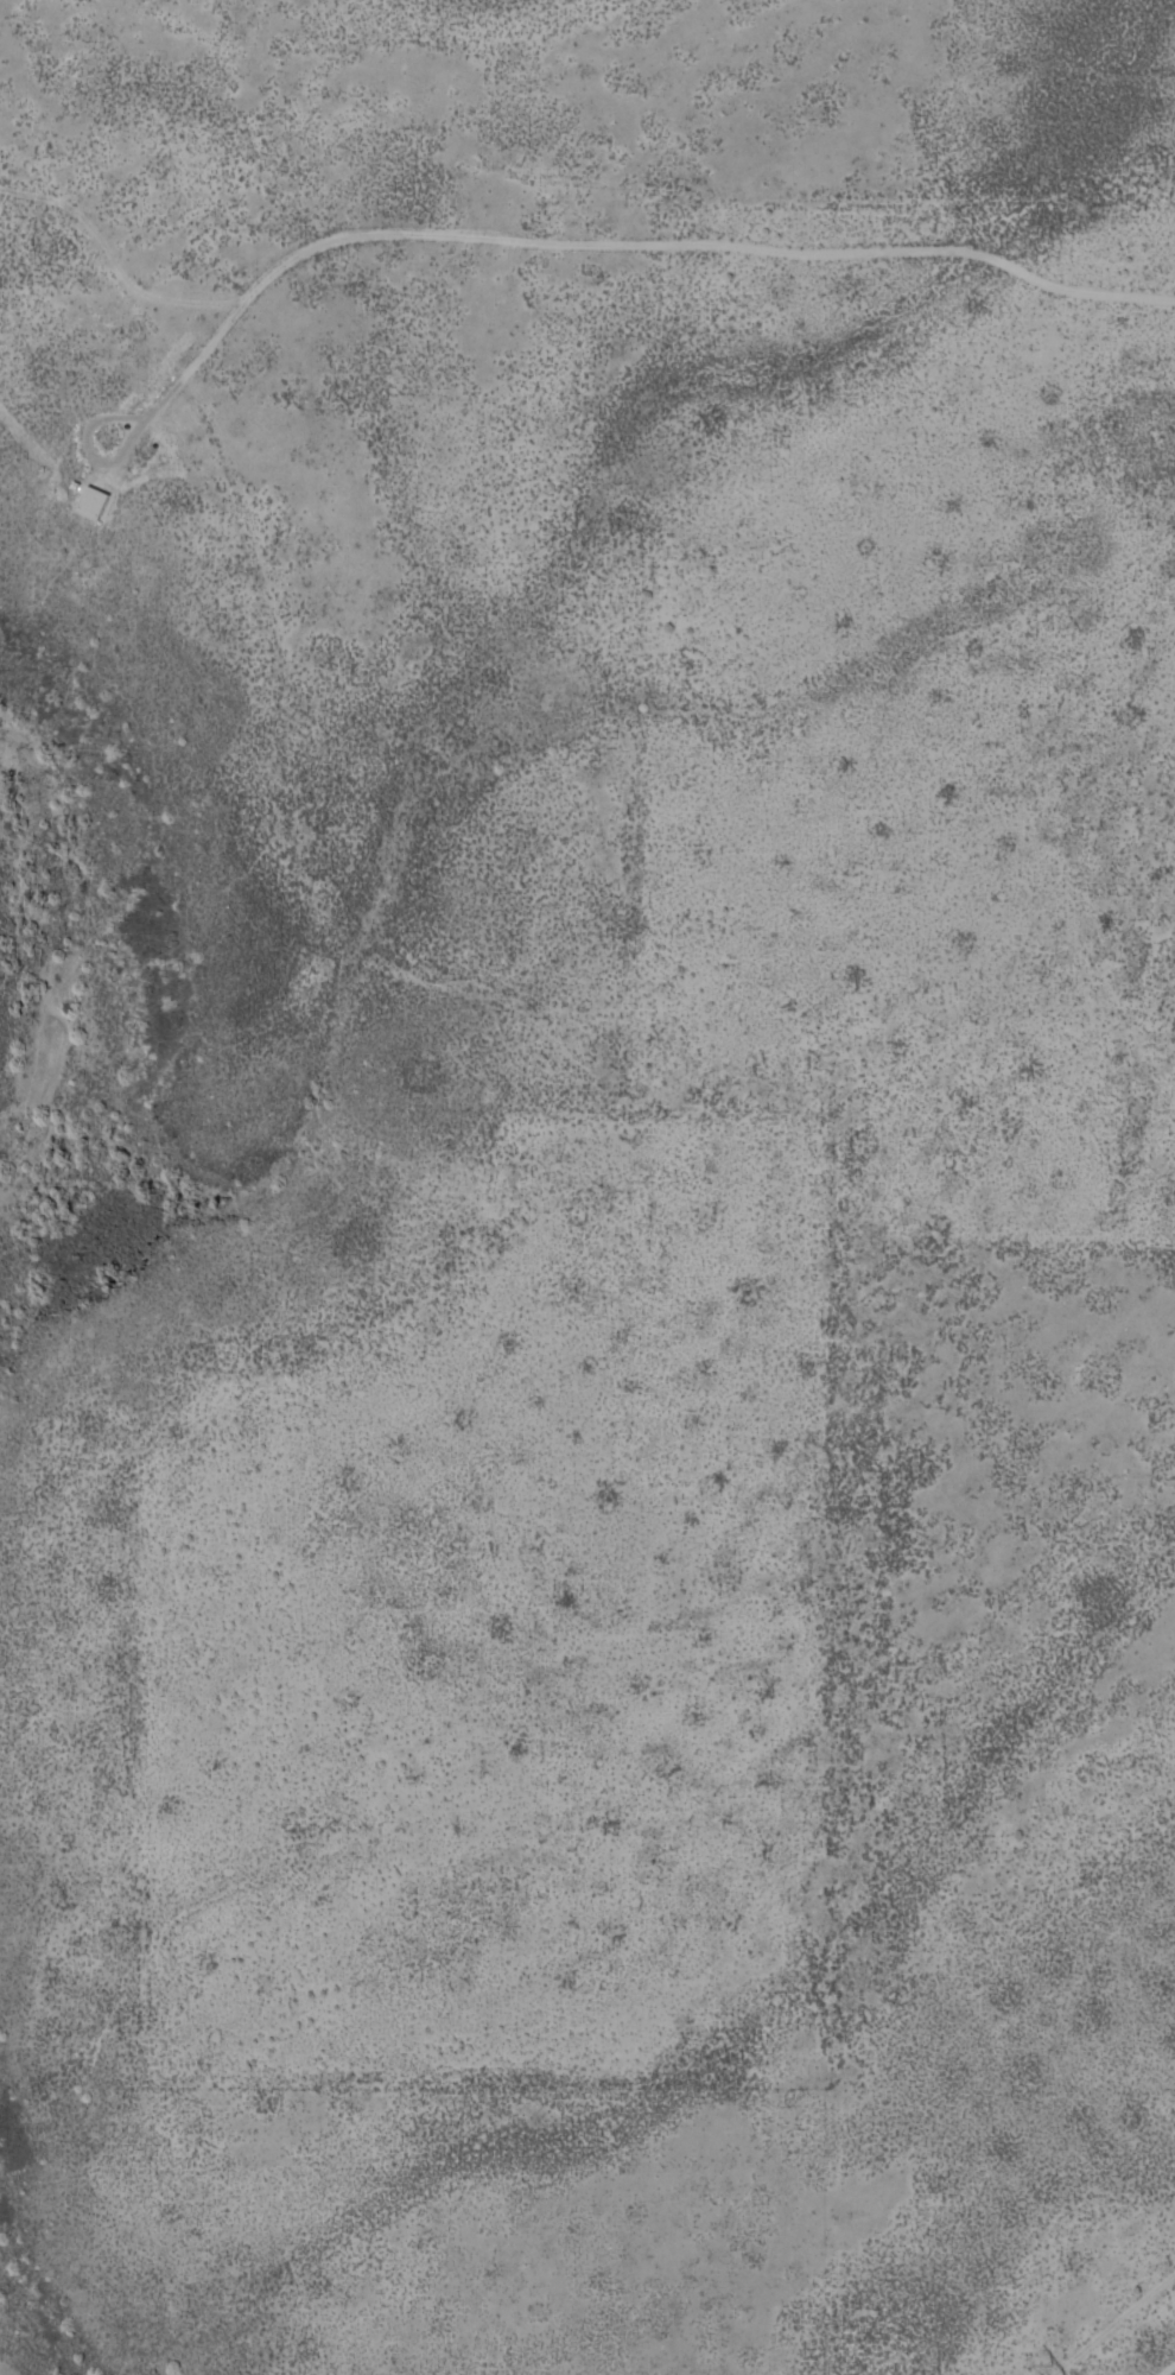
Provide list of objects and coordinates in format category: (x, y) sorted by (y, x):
power tower: (1062, 2374)

